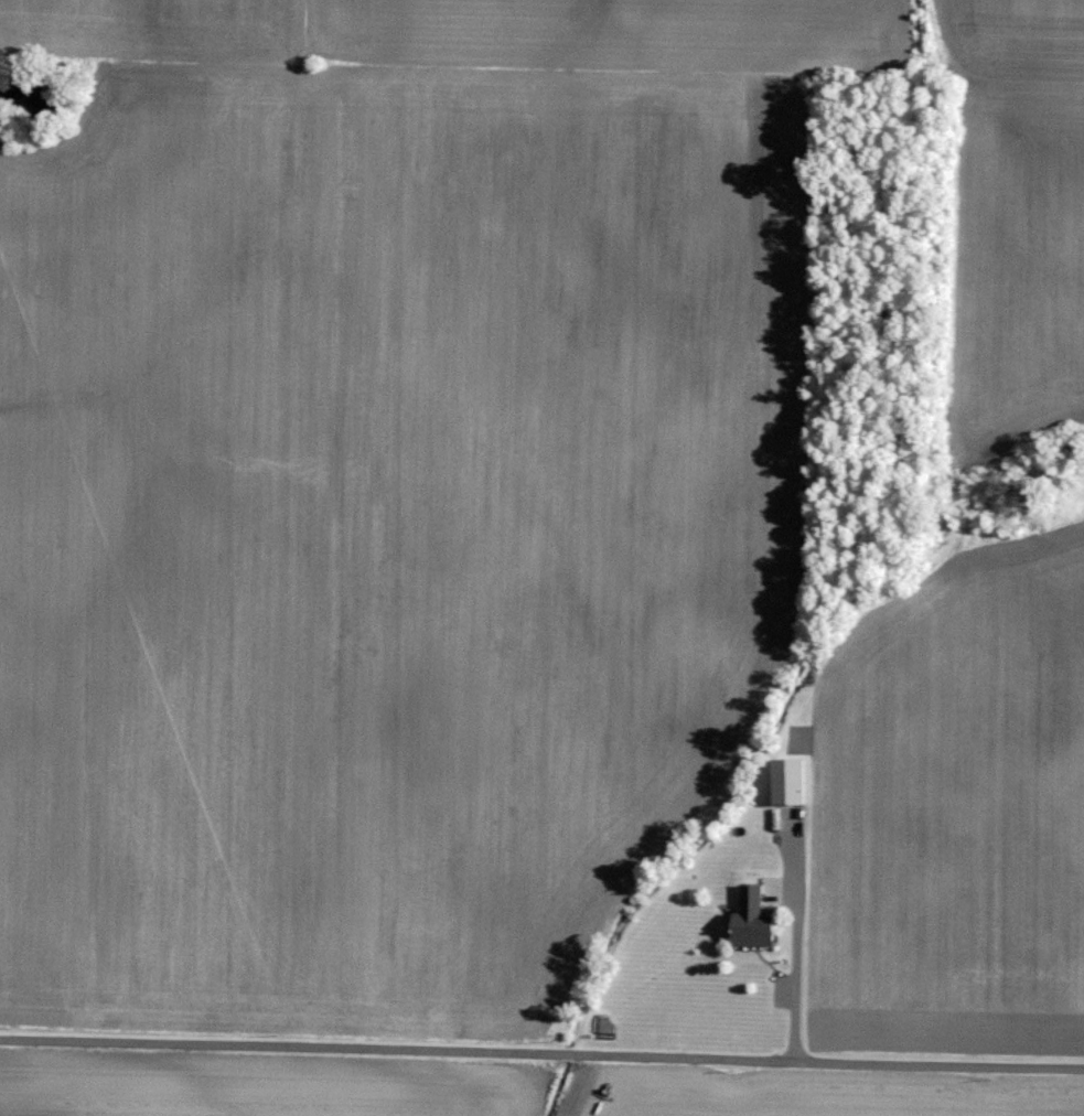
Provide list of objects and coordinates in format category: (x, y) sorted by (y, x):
road: (794, 933)
road: (790, 999)
road: (541, 1055)

